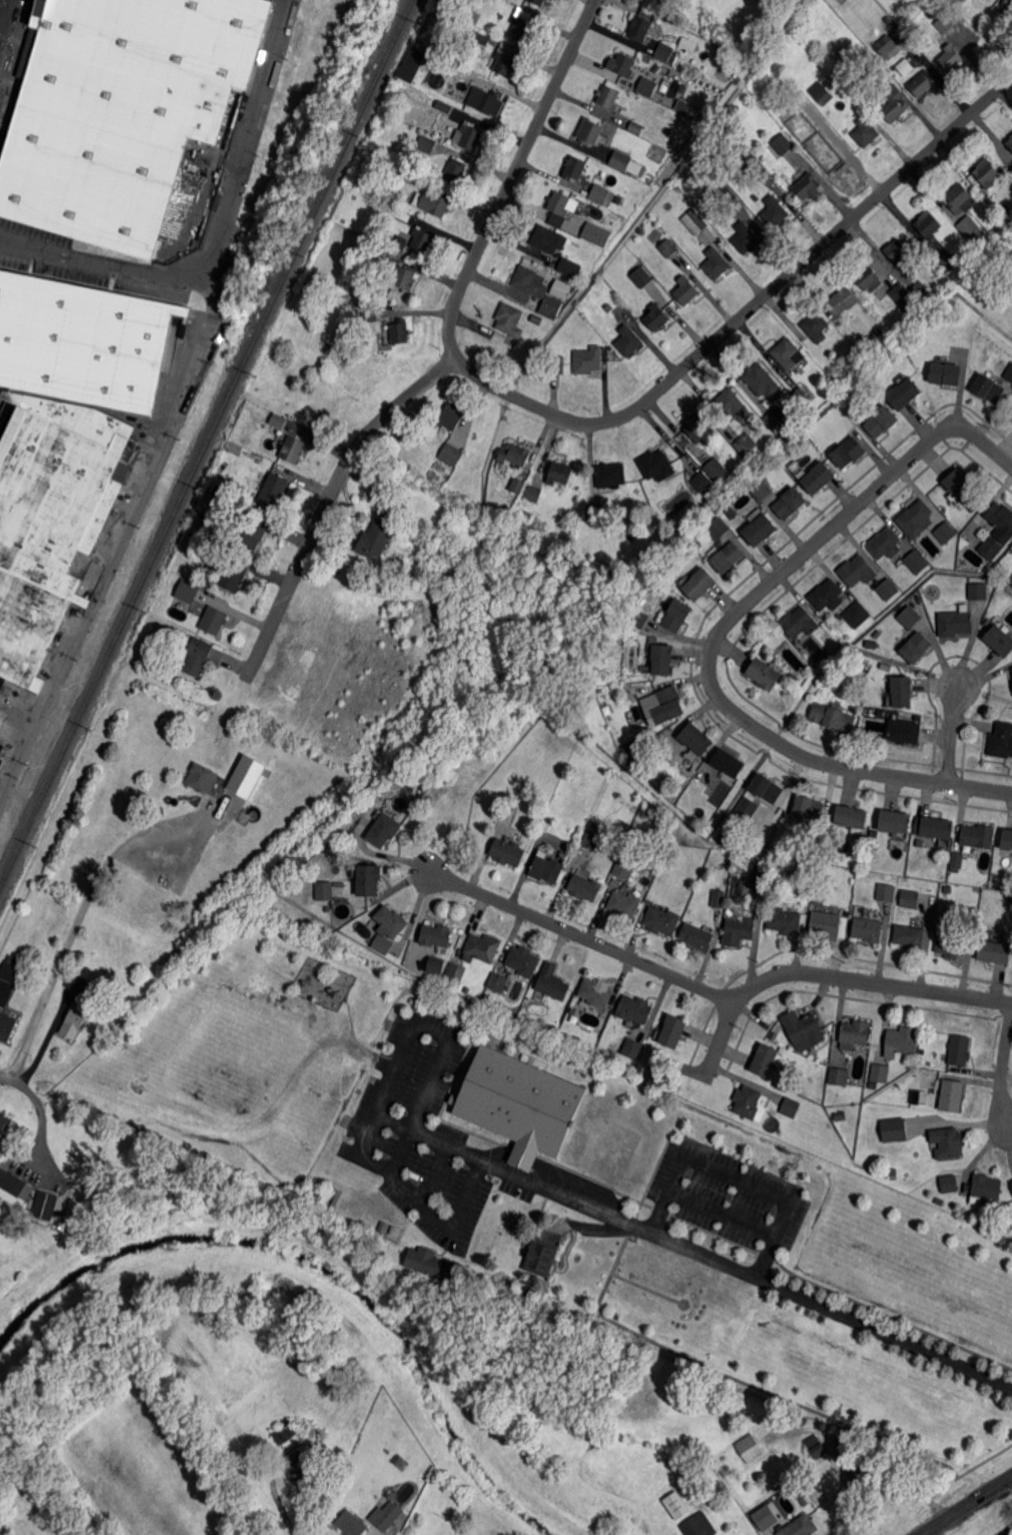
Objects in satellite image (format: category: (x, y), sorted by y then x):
building: (959, 1)
building: (539, 2)
building: (701, 4)
road: (4, 13)
building: (995, 15)
building: (474, 17)
road: (6, 20)
building: (889, 20)
building: (941, 22)
building: (522, 24)
building: (640, 28)
building: (481, 38)
building: (888, 48)
building: (666, 53)
building: (952, 58)
building: (505, 60)
building: (411, 64)
building: (625, 65)
building: (904, 68)
building: (923, 84)
building: (646, 87)
building: (454, 90)
building: (822, 93)
building: (610, 97)
building: (489, 101)
building: (894, 103)
building: (445, 107)
building: (122, 112)
building: (819, 121)
building: (637, 127)
building: (590, 132)
building: (866, 132)
building: (1011, 136)
building: (469, 137)
building: (1010, 143)
building: (427, 144)
building: (780, 145)
building: (833, 156)
building: (765, 158)
building: (1, 161)
building: (621, 161)
building: (752, 166)
building: (391, 168)
building: (573, 169)
building: (457, 172)
building: (987, 173)
building: (407, 176)
building: (807, 186)
building: (600, 193)
building: (725, 196)
building: (961, 199)
building: (560, 203)
building: (436, 204)
building: (775, 212)
building: (1006, 214)
building: (695, 221)
building: (929, 225)
building: (970, 230)
road: (210, 231)
building: (597, 235)
building: (746, 238)
building: (423, 240)
building: (549, 240)
building: (400, 243)
building: (669, 248)
building: (897, 250)
building: (377, 252)
building: (949, 262)
building: (716, 263)
building: (570, 267)
building: (640, 275)
building: (405, 278)
building: (869, 278)
building: (529, 283)
building: (930, 287)
building: (559, 288)
building: (686, 291)
building: (920, 292)
building: (609, 298)
building: (903, 298)
building: (843, 301)
building: (550, 308)
building: (371, 317)
building: (657, 317)
building: (510, 319)
building: (817, 327)
building: (400, 332)
building: (629, 341)
building: (789, 353)
building: (589, 360)
building: (556, 364)
building: (946, 373)
building: (1009, 373)
building: (762, 380)
building: (988, 388)
building: (905, 393)
building: (802, 394)
building: (733, 406)
building: (778, 418)
building: (445, 419)
building: (279, 420)
building: (882, 421)
road: (594, 423)
building: (698, 428)
building: (785, 435)
railway: (206, 441)
road: (984, 442)
building: (63, 443)
building: (746, 443)
building: (294, 449)
building: (849, 452)
building: (452, 454)
building: (515, 454)
building: (657, 465)
building: (715, 471)
building: (560, 473)
building: (612, 475)
building: (732, 476)
building: (818, 477)
building: (700, 482)
building: (725, 482)
building: (518, 485)
building: (960, 485)
building: (274, 489)
building: (762, 489)
building: (535, 493)
building: (790, 503)
road: (329, 504)
building: (221, 510)
building: (595, 511)
building: (730, 513)
building: (914, 515)
building: (1001, 517)
building: (717, 528)
road: (124, 530)
building: (760, 530)
building: (255, 532)
building: (945, 533)
building: (377, 538)
building: (886, 544)
building: (208, 545)
building: (991, 548)
building: (726, 558)
building: (915, 562)
building: (858, 571)
building: (235, 576)
building: (1011, 580)
building: (655, 583)
building: (700, 583)
building: (887, 590)
building: (979, 591)
building: (187, 592)
building: (827, 595)
building: (857, 614)
building: (677, 615)
building: (216, 616)
building: (910, 617)
building: (639, 618)
building: (800, 622)
building: (988, 622)
building: (956, 623)
building: (877, 633)
building: (631, 636)
building: (1000, 640)
building: (917, 648)
building: (198, 656)
building: (791, 657)
building: (661, 660)
road: (710, 665)
building: (1011, 668)
building: (764, 673)
building: (795, 679)
building: (902, 691)
building: (626, 698)
building: (670, 703)
building: (834, 717)
building: (919, 717)
building: (4, 722)
building: (905, 731)
road: (952, 735)
building: (696, 738)
building: (1002, 740)
building: (1, 749)
building: (1, 763)
building: (727, 763)
building: (245, 775)
building: (208, 780)
building: (693, 785)
building: (767, 788)
building: (809, 807)
building: (746, 811)
building: (852, 816)
building: (896, 821)
building: (592, 825)
building: (935, 827)
building: (383, 831)
building: (979, 836)
building: (591, 840)
building: (1007, 841)
building: (507, 853)
building: (958, 860)
building: (669, 864)
building: (625, 867)
building: (548, 869)
building: (760, 878)
building: (370, 880)
building: (854, 880)
building: (995, 886)
building: (585, 887)
building: (325, 891)
building: (886, 891)
building: (719, 898)
building: (909, 898)
building: (625, 905)
building: (327, 909)
road: (78, 912)
building: (730, 912)
building: (662, 920)
building: (391, 921)
building: (785, 921)
building: (825, 926)
building: (739, 930)
building: (867, 930)
building: (436, 935)
building: (697, 936)
building: (333, 937)
building: (908, 937)
road: (584, 938)
building: (383, 944)
building: (950, 945)
building: (482, 948)
building: (994, 952)
building: (524, 961)
building: (435, 964)
building: (11, 970)
building: (421, 970)
building: (456, 971)
road: (828, 976)
building: (76, 982)
building: (498, 982)
building: (553, 982)
building: (467, 989)
building: (596, 993)
building: (635, 1009)
building: (73, 1020)
building: (6, 1027)
building: (803, 1028)
building: (672, 1031)
building: (853, 1035)
road: (445, 1040)
building: (901, 1041)
building: (959, 1051)
building: (630, 1054)
building: (765, 1061)
building: (879, 1073)
road: (1003, 1075)
building: (838, 1077)
road: (9, 1078)
building: (873, 1085)
building: (950, 1095)
building: (746, 1102)
building: (522, 1103)
building: (789, 1107)
building: (840, 1115)
building: (4, 1123)
building: (898, 1129)
road: (39, 1133)
building: (946, 1143)
building: (1011, 1181)
building: (947, 1184)
building: (986, 1187)
building: (14, 1189)
building: (939, 1200)
building: (45, 1206)
building: (542, 1257)
building: (430, 1263)
road: (776, 1286)
building: (715, 1410)
building: (801, 1418)
building: (286, 1432)
building: (817, 1447)
building: (750, 1448)
building: (298, 1466)
building: (857, 1468)
building: (677, 1504)
road: (967, 1505)
building: (386, 1516)
building: (754, 1516)
building: (351, 1524)
building: (700, 1525)
building: (801, 1526)
road: (285, 1533)

